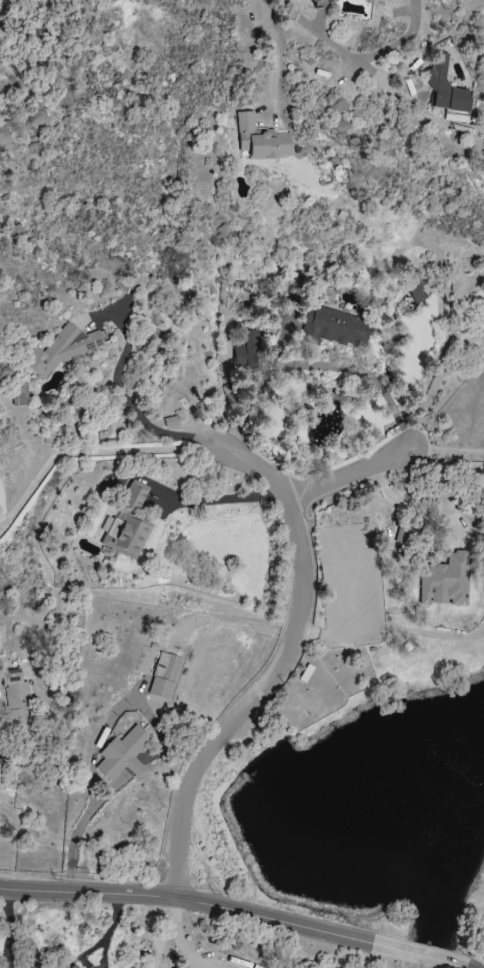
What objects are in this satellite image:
road: (324, 38)
road: (401, 41)
road: (274, 56)
building: (448, 93)
building: (262, 140)
building: (483, 150)
building: (341, 327)
building: (62, 349)
building: (249, 351)
road: (448, 358)
road: (129, 404)
road: (87, 452)
road: (448, 453)
road: (349, 477)
road: (416, 498)
building: (441, 581)
road: (281, 663)
building: (165, 675)
building: (16, 696)
building: (123, 756)
road: (189, 897)
road: (109, 931)
road: (178, 938)
dam: (389, 943)
road: (34, 956)
building: (73, 966)
building: (183, 967)

